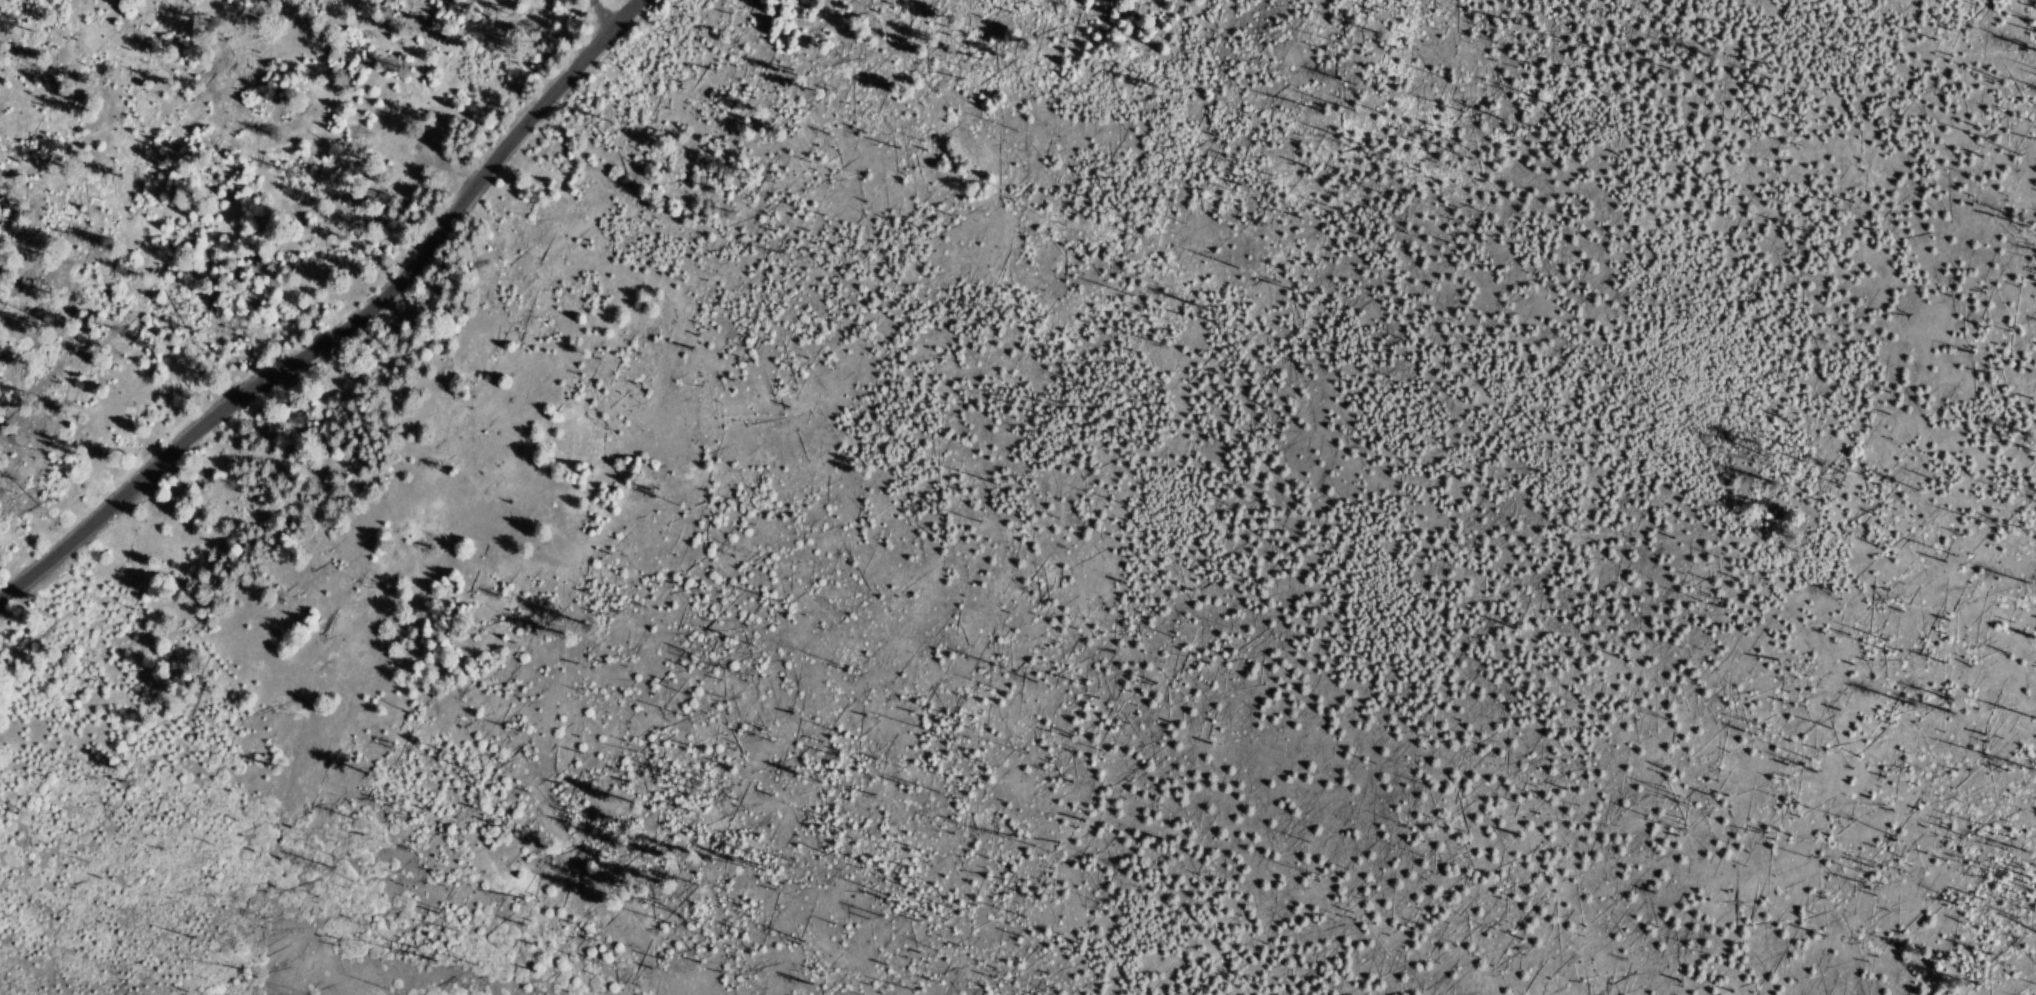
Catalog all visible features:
road: (600, 15)
road: (433, 156)
road: (346, 325)

